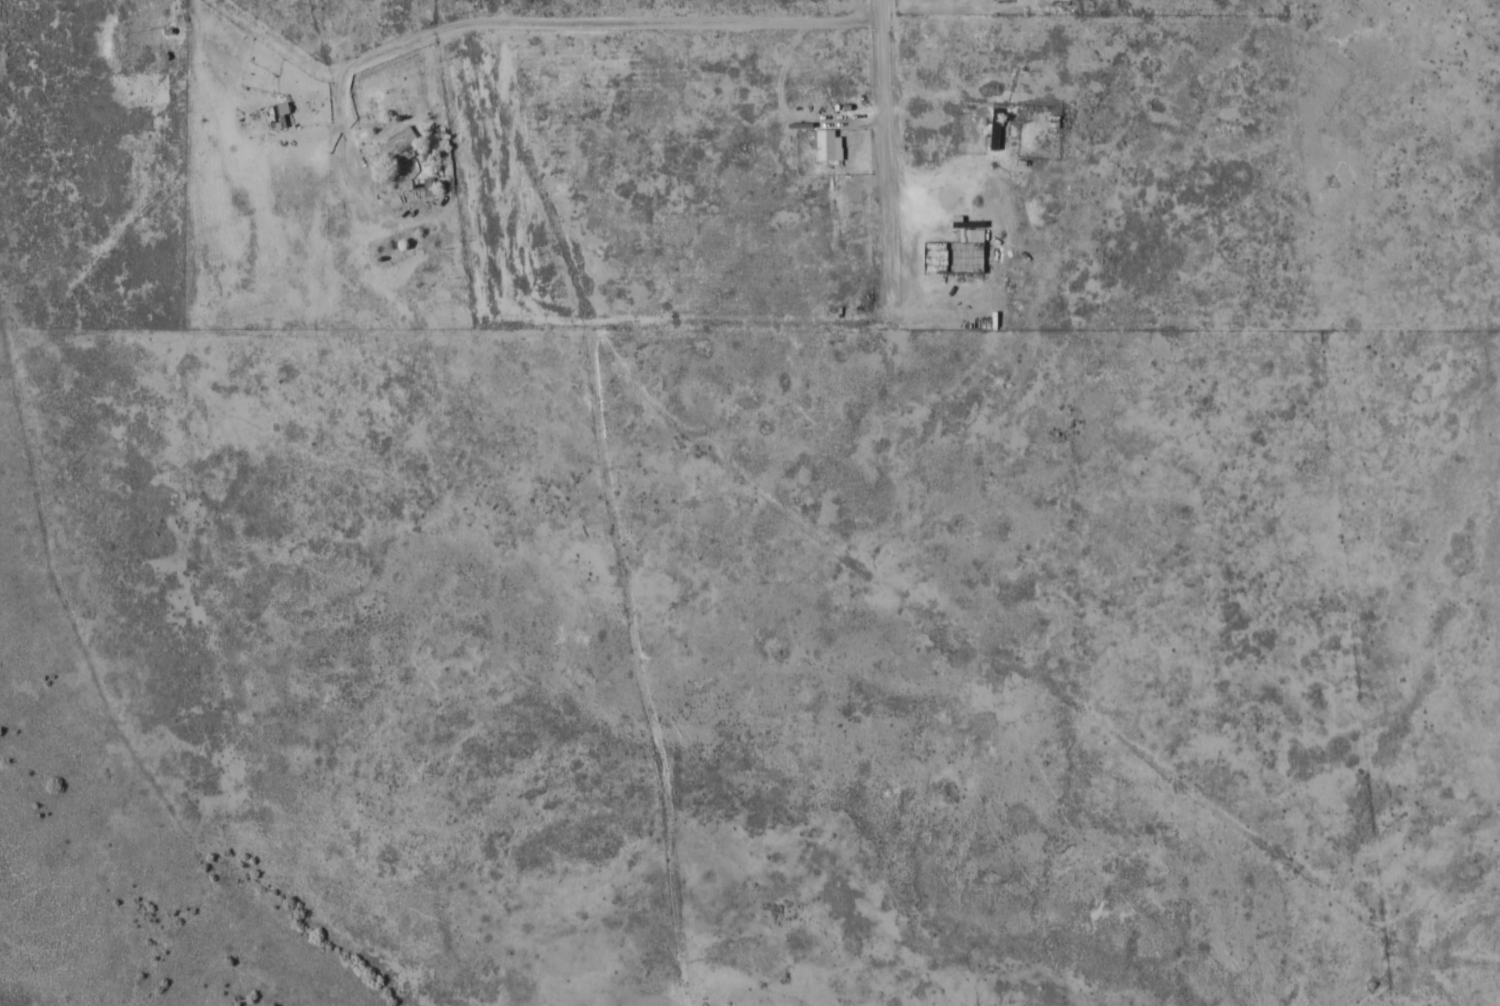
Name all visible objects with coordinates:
road: (588, 24)
building: (1052, 119)
building: (994, 127)
building: (827, 144)
building: (397, 145)
road: (429, 148)
building: (955, 251)
road: (936, 303)
road: (869, 504)
road: (1131, 583)
road: (1480, 988)

